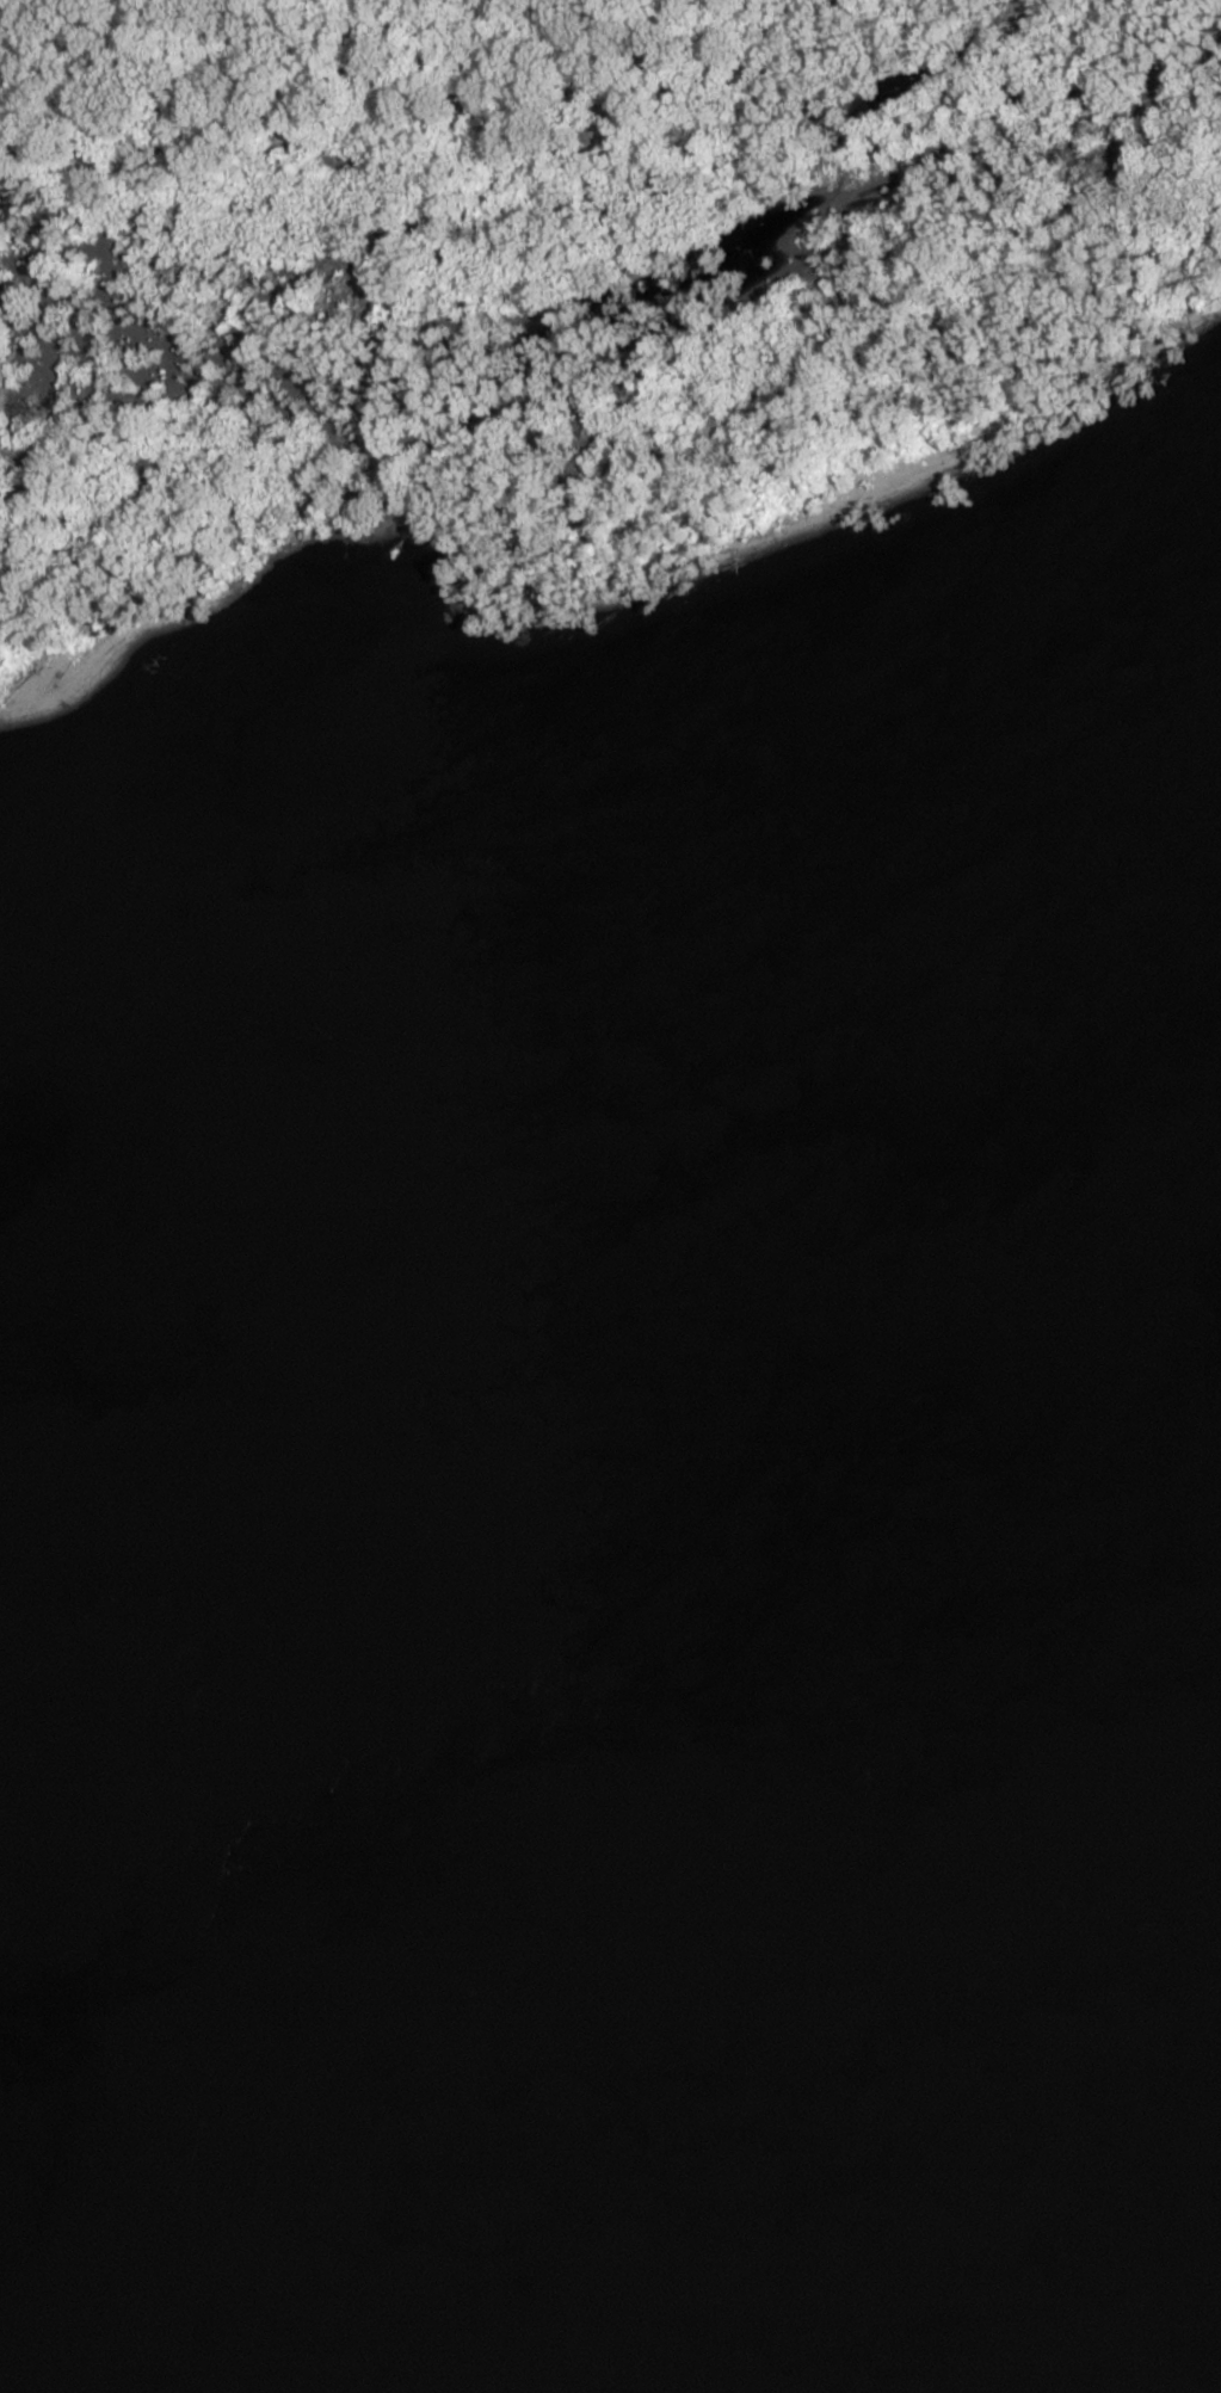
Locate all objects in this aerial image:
river: (1081, 2369)

